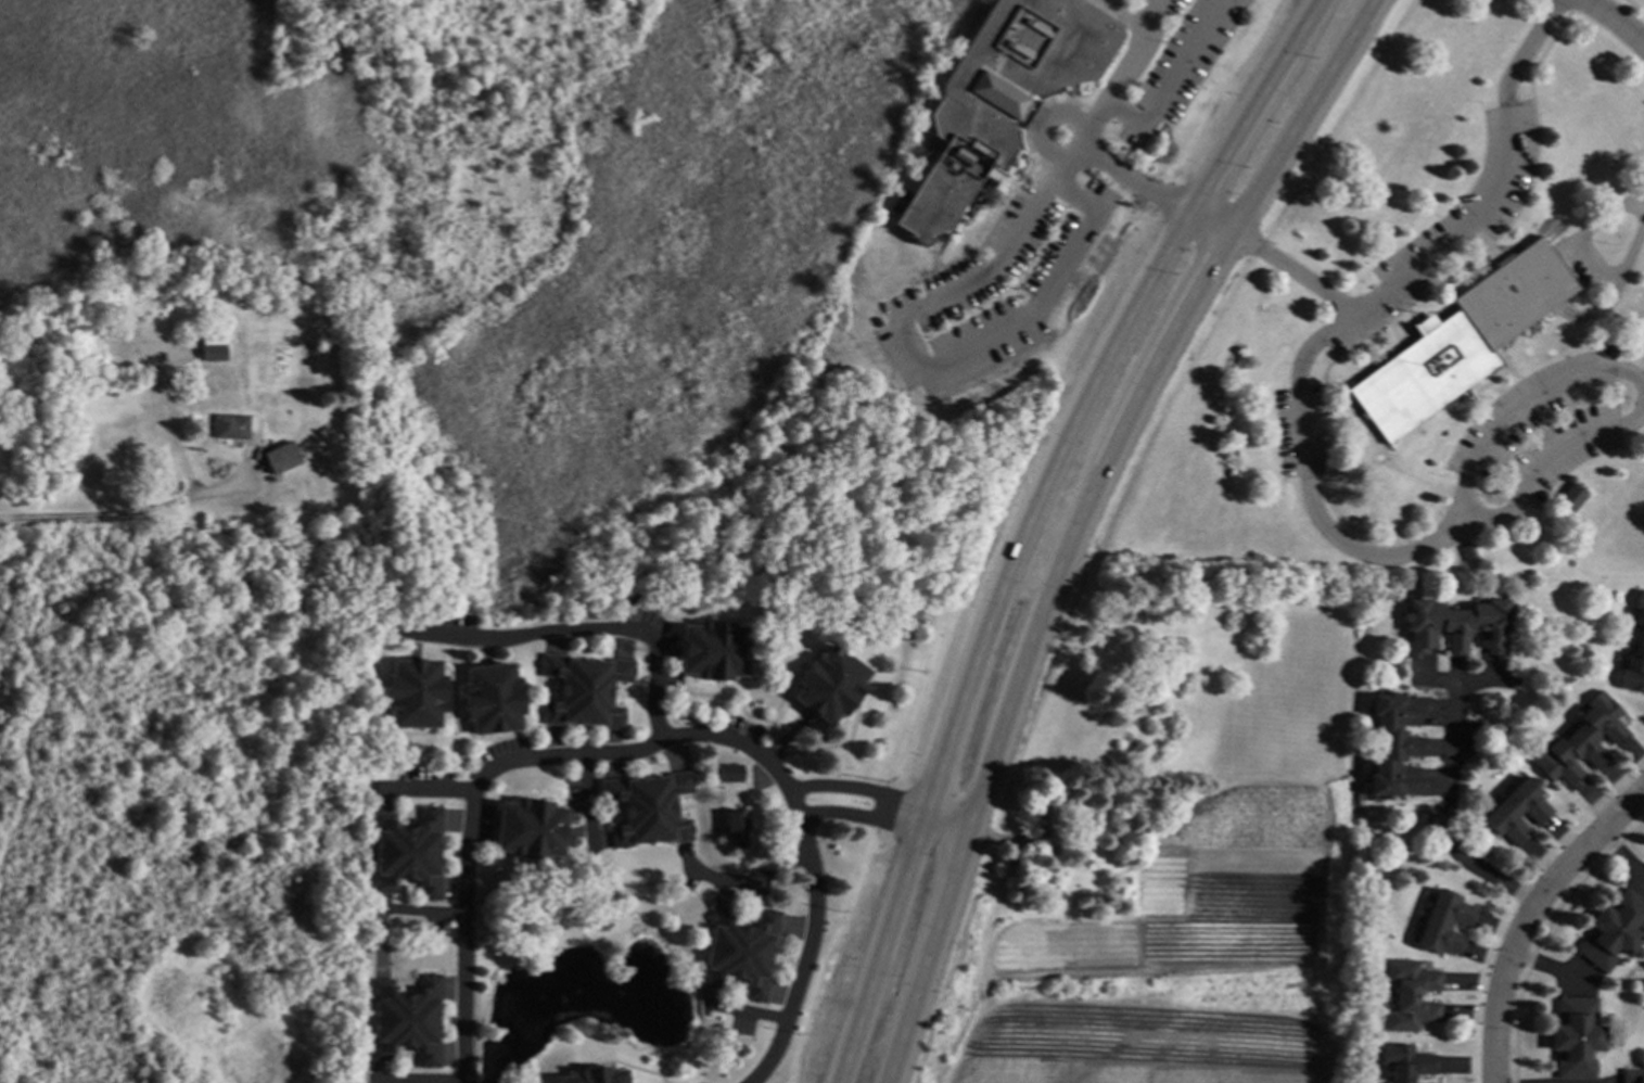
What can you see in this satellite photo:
road: (1615, 21)
road: (1136, 52)
road: (1174, 80)
building: (1002, 95)
road: (1044, 125)
road: (1110, 164)
road: (1209, 221)
road: (1590, 258)
road: (1292, 272)
building: (1461, 341)
building: (214, 353)
road: (919, 361)
building: (235, 426)
road: (1302, 426)
building: (968, 428)
building: (282, 457)
road: (1550, 457)
building: (1570, 498)
road: (120, 511)
road: (1079, 518)
road: (1030, 519)
building: (1468, 552)
road: (585, 627)
building: (1456, 627)
building: (713, 650)
building: (1634, 654)
building: (831, 684)
building: (585, 690)
building: (415, 695)
building: (492, 698)
building: (1580, 742)
road: (647, 744)
building: (1397, 746)
building: (728, 773)
road: (431, 788)
road: (881, 794)
road: (587, 795)
building: (648, 807)
building: (1515, 813)
road: (1441, 815)
road: (882, 820)
building: (736, 828)
building: (531, 829)
building: (1047, 829)
building: (408, 854)
road: (1619, 857)
building: (1083, 862)
road: (748, 880)
building: (1126, 881)
building: (1116, 892)
road: (422, 910)
road: (1528, 915)
building: (1443, 923)
building: (1611, 931)
building: (741, 951)
crop: (1168, 960)
building: (1411, 996)
road: (756, 1011)
building: (405, 1020)
building: (1575, 1039)
building: (1405, 1062)
building: (594, 1075)
building: (1631, 1076)
road: (420, 1080)

